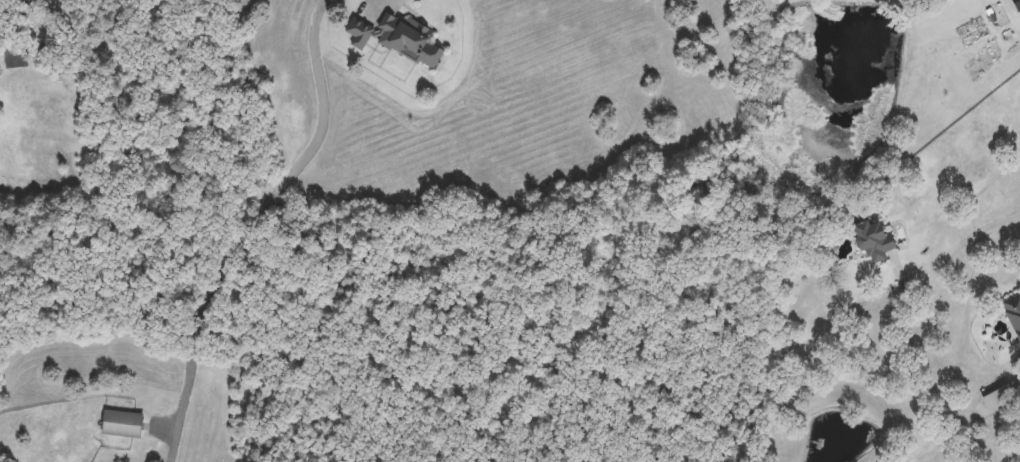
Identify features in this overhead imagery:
road: (384, 6)
building: (399, 38)
building: (17, 56)
road: (257, 226)
building: (875, 240)
road: (964, 246)
building: (1014, 313)
building: (123, 424)

